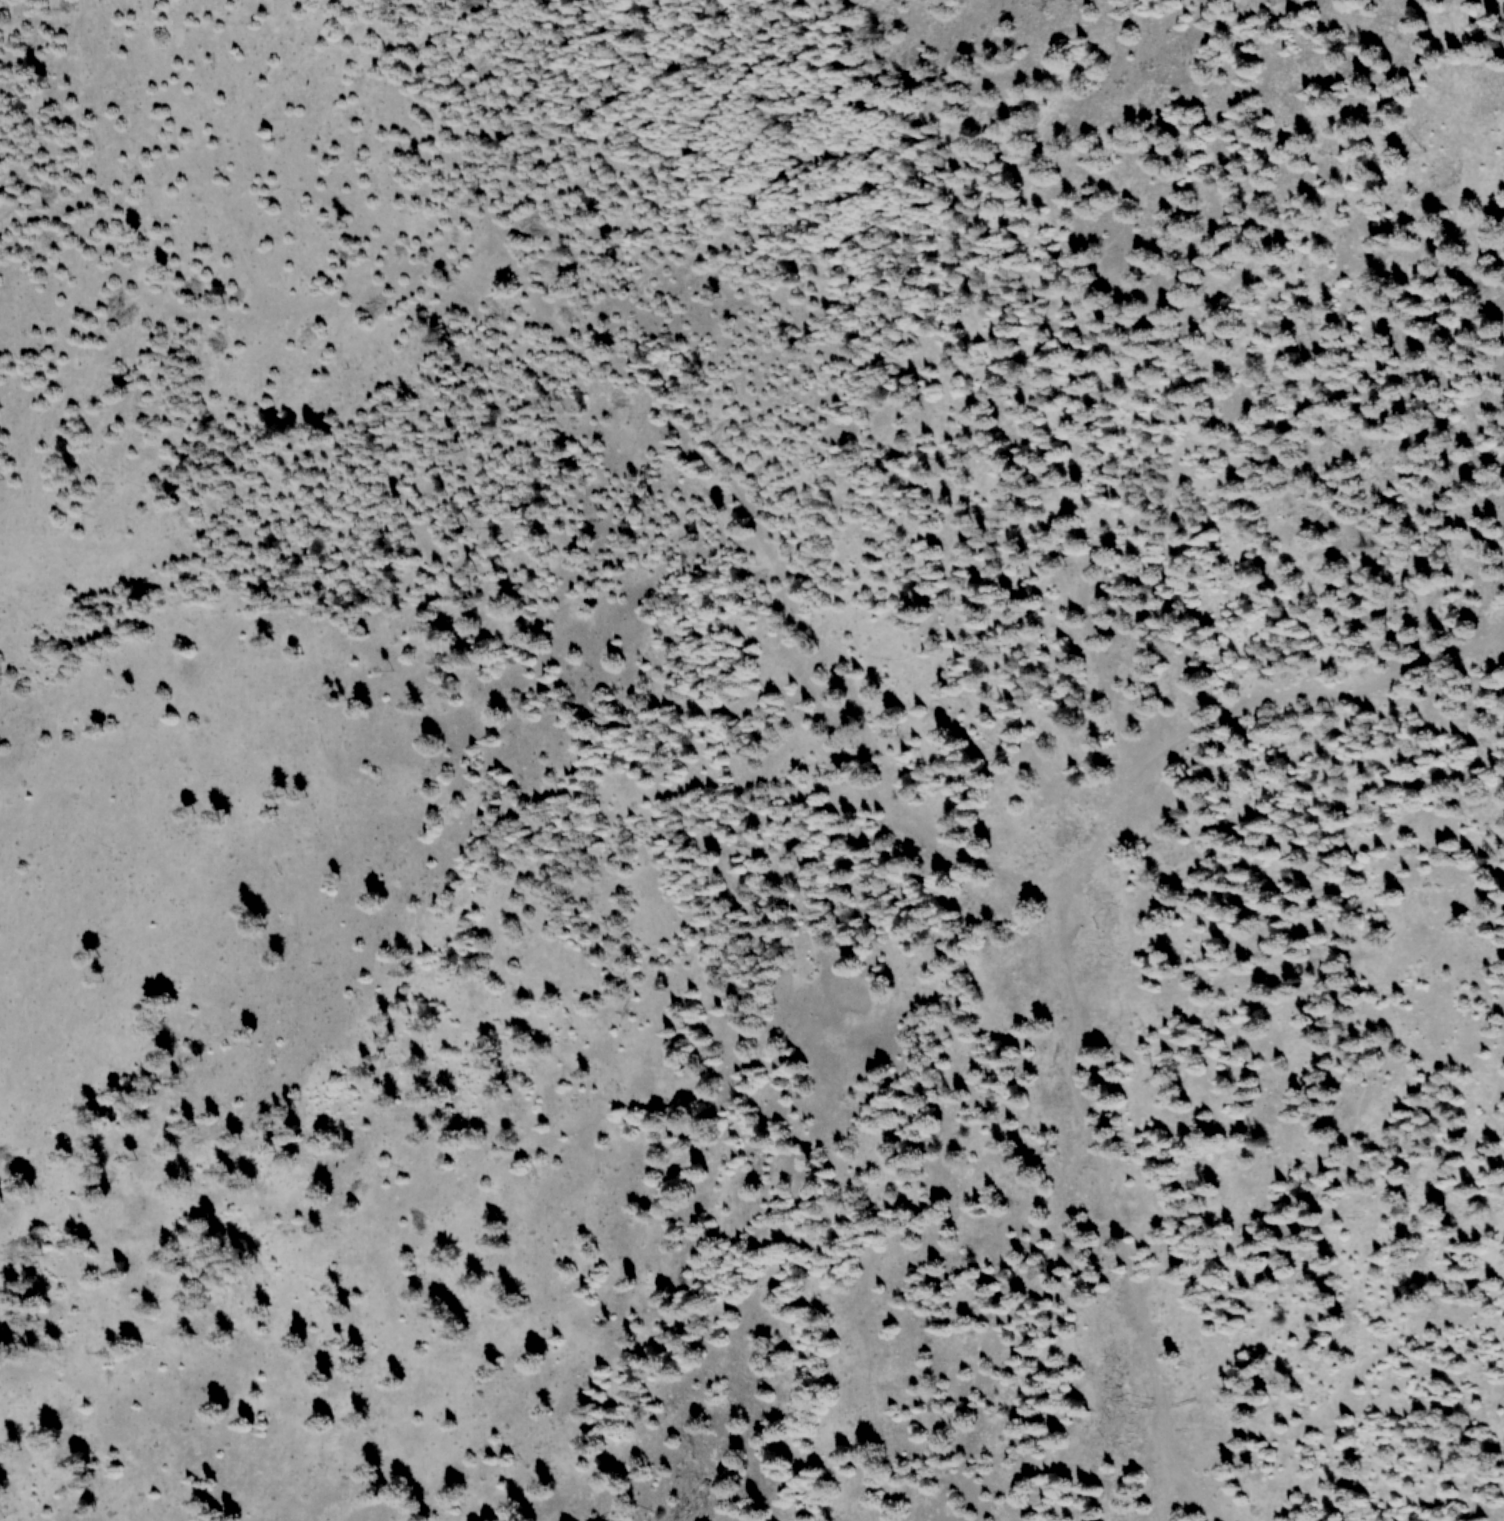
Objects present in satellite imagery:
road: (850, 758)
road: (1169, 1496)

